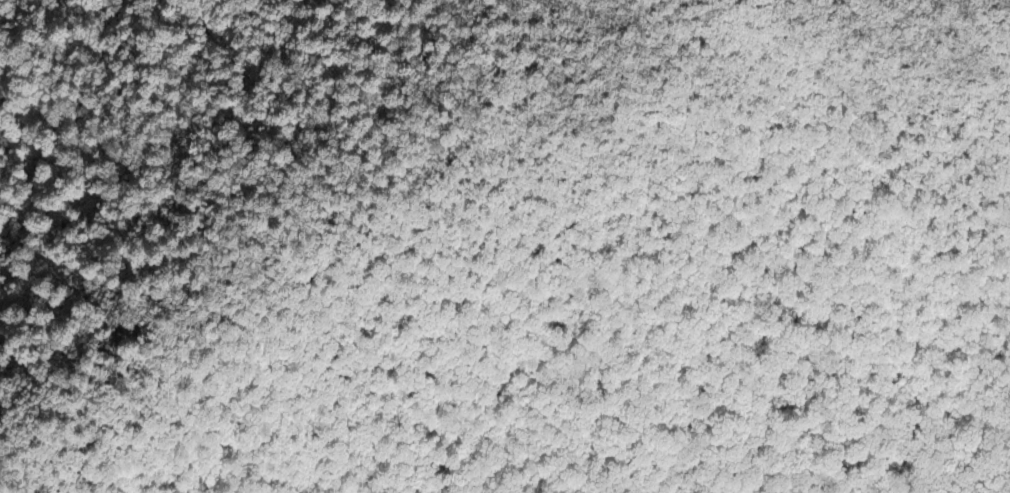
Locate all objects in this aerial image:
road: (589, 207)

